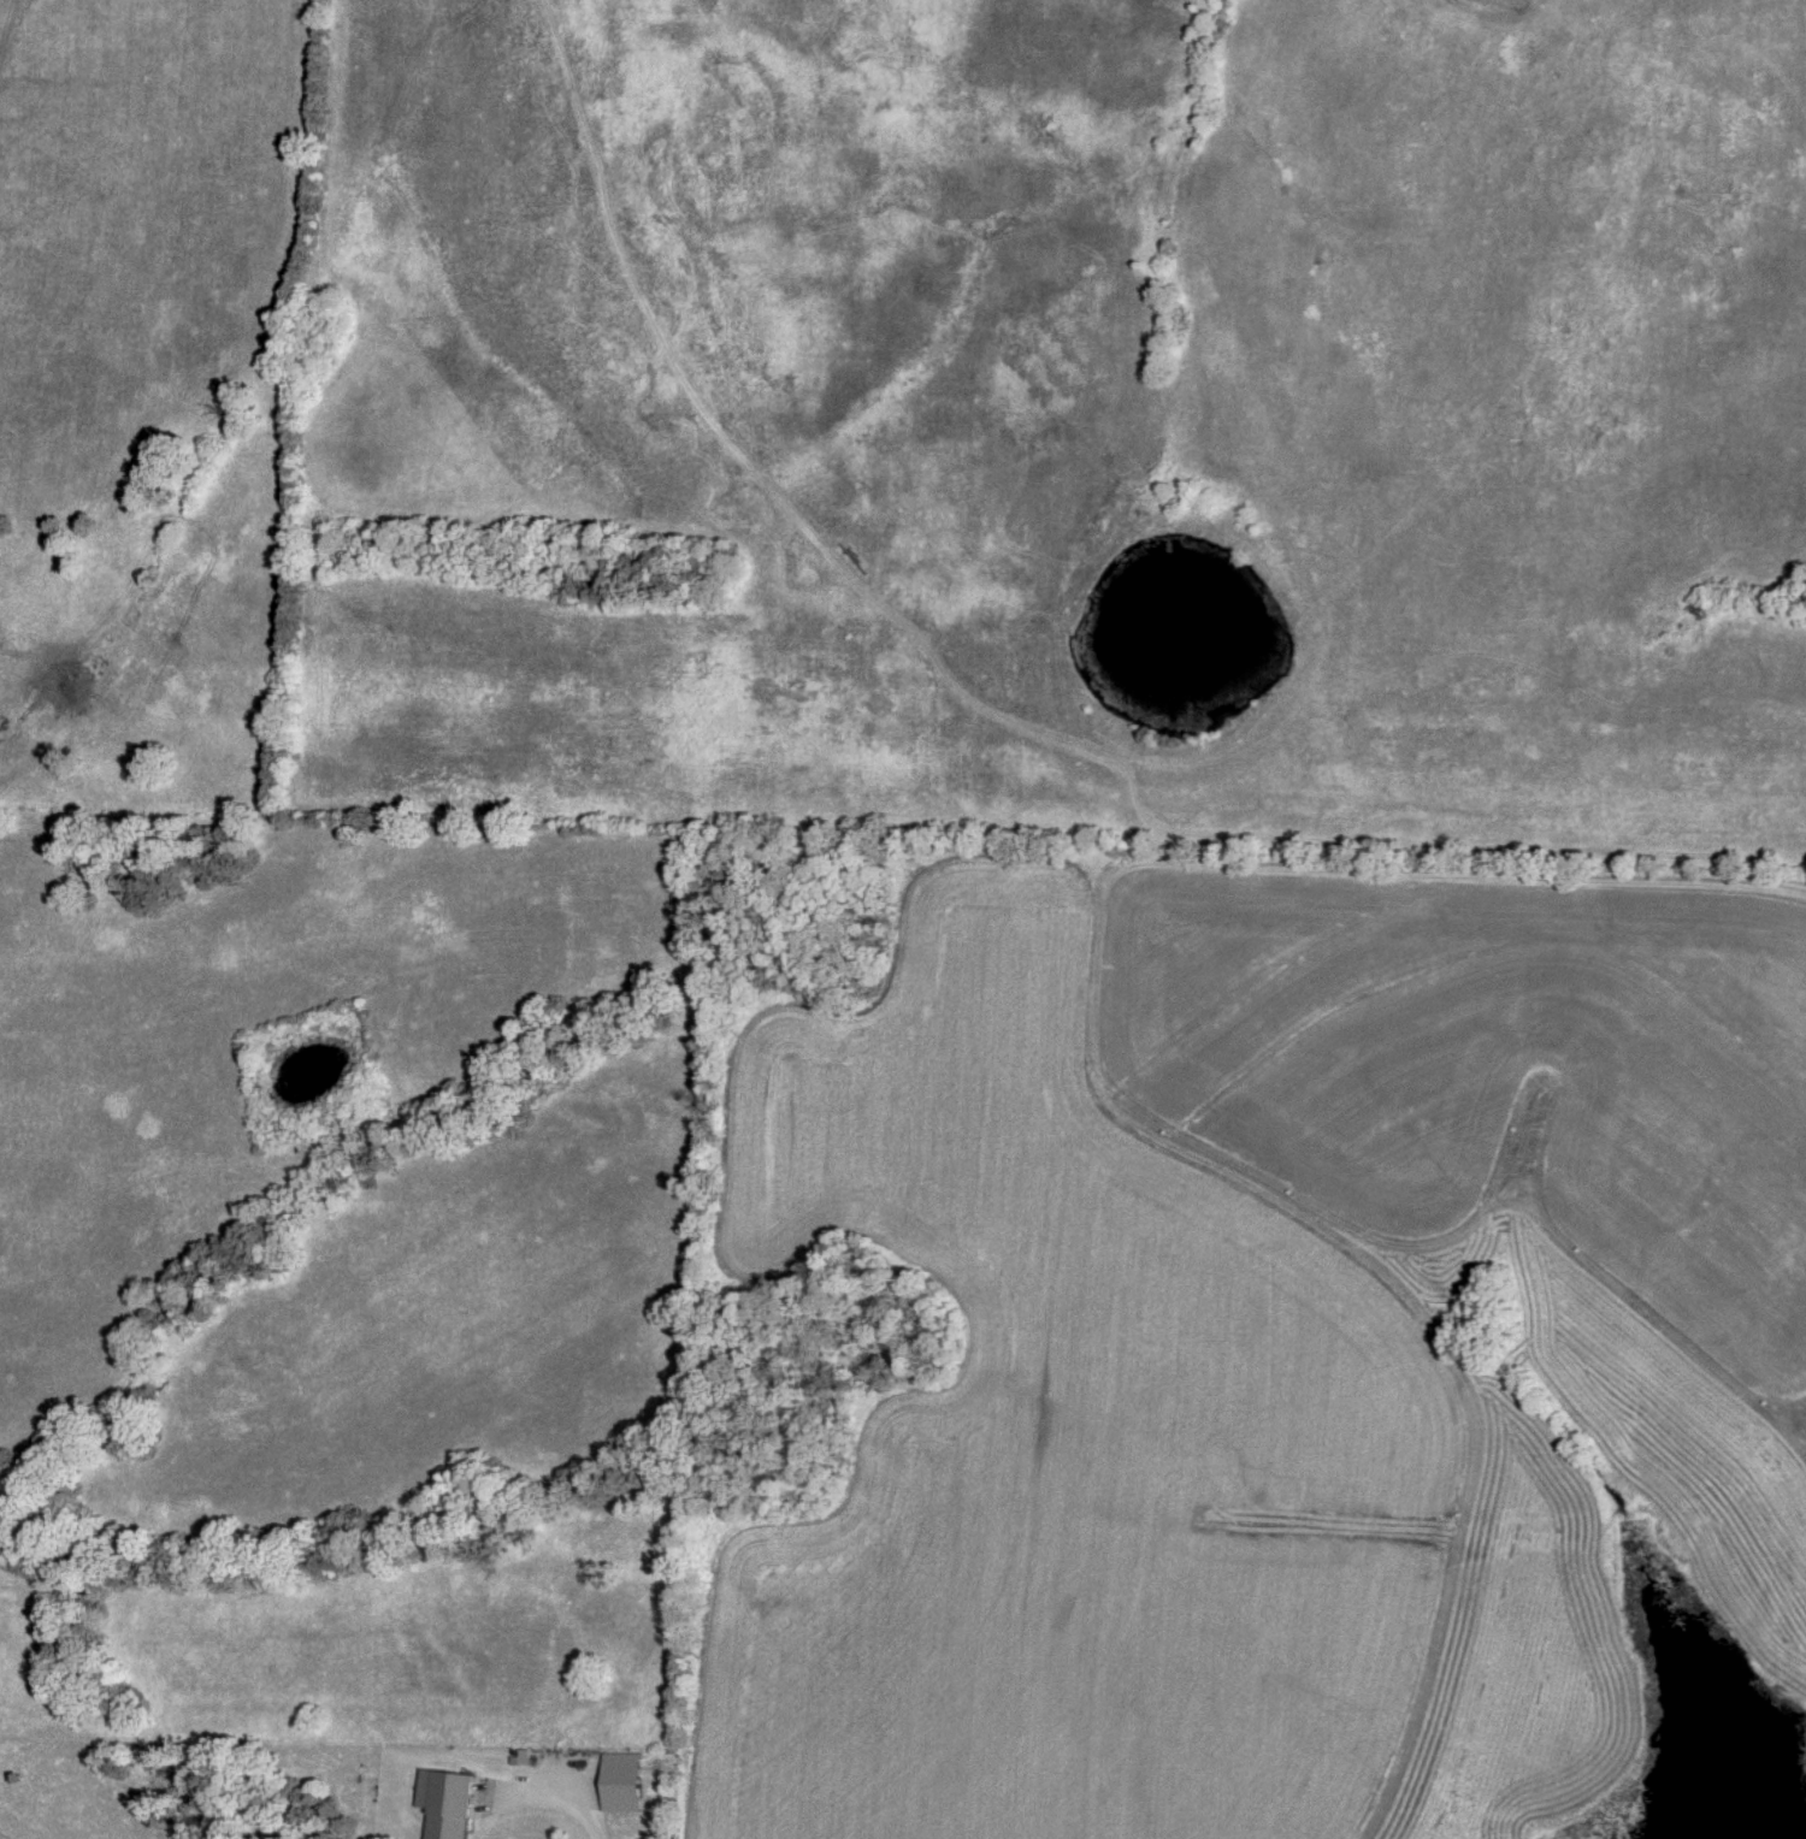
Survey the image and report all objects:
building: (620, 1785)
road: (553, 1797)
building: (444, 1805)

